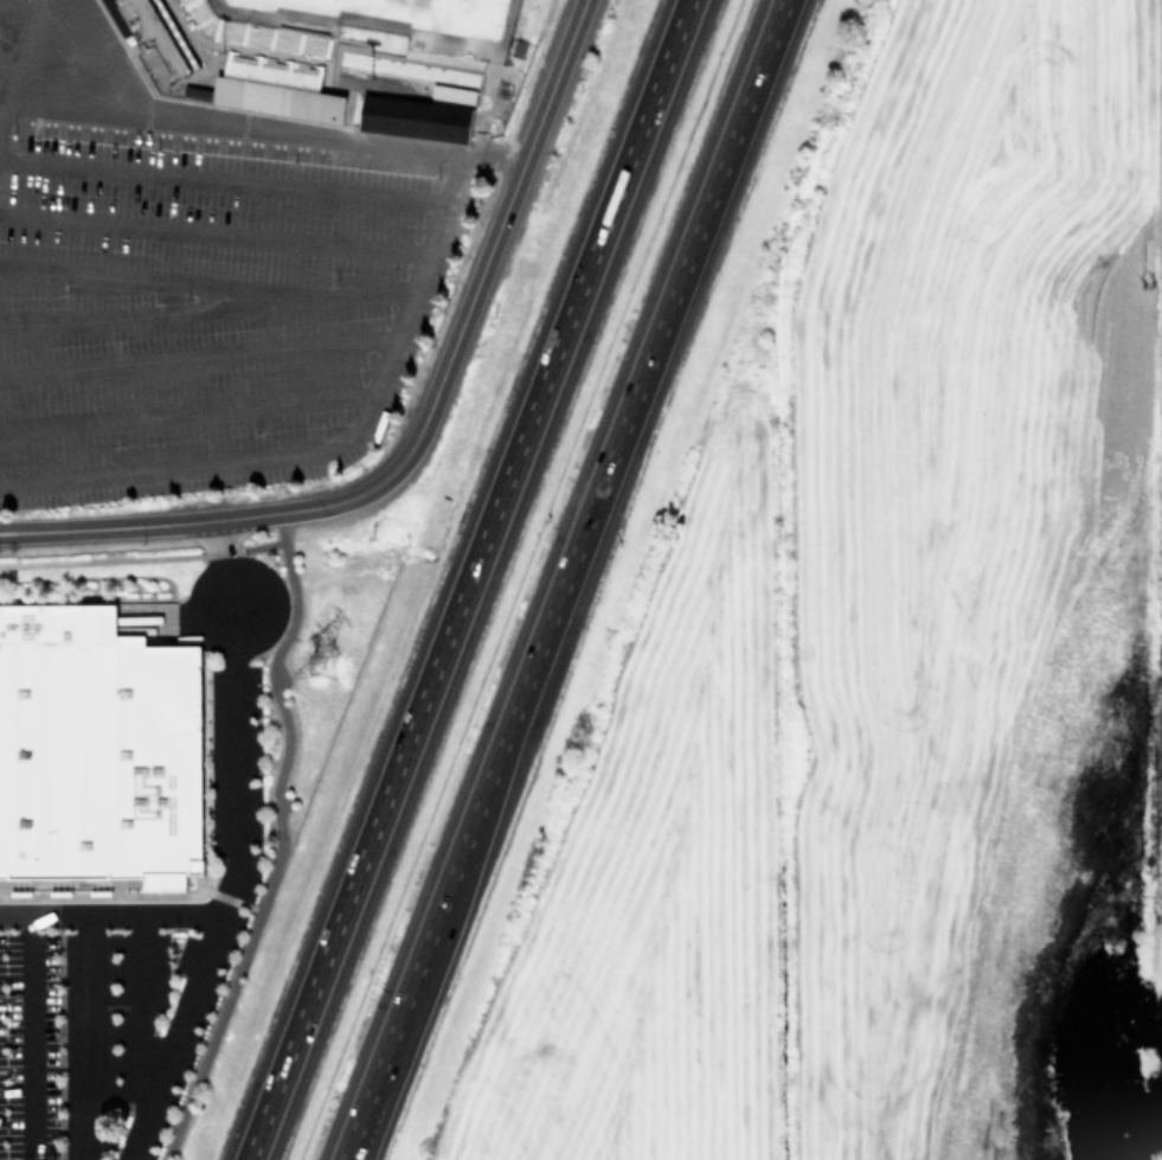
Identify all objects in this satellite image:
road: (20, 7)
park: (391, 21)
building: (154, 33)
road: (25, 50)
stadium: (327, 59)
road: (11, 62)
building: (451, 94)
building: (276, 97)
road: (1, 114)
building: (413, 116)
road: (250, 127)
road: (223, 178)
road: (212, 231)
road: (492, 245)
parking lot: (199, 274)
road: (158, 280)
road: (205, 308)
road: (197, 354)
road: (186, 409)
road: (326, 446)
road: (601, 487)
road: (333, 504)
road: (139, 525)
road: (468, 579)
power tower: (321, 658)
crop: (914, 668)
building: (97, 748)
road: (280, 841)
road: (233, 848)
road: (108, 917)
parking lot: (124, 986)
road: (142, 1014)
road: (31, 1039)
road: (86, 1039)
road: (379, 1066)
road: (386, 1066)

